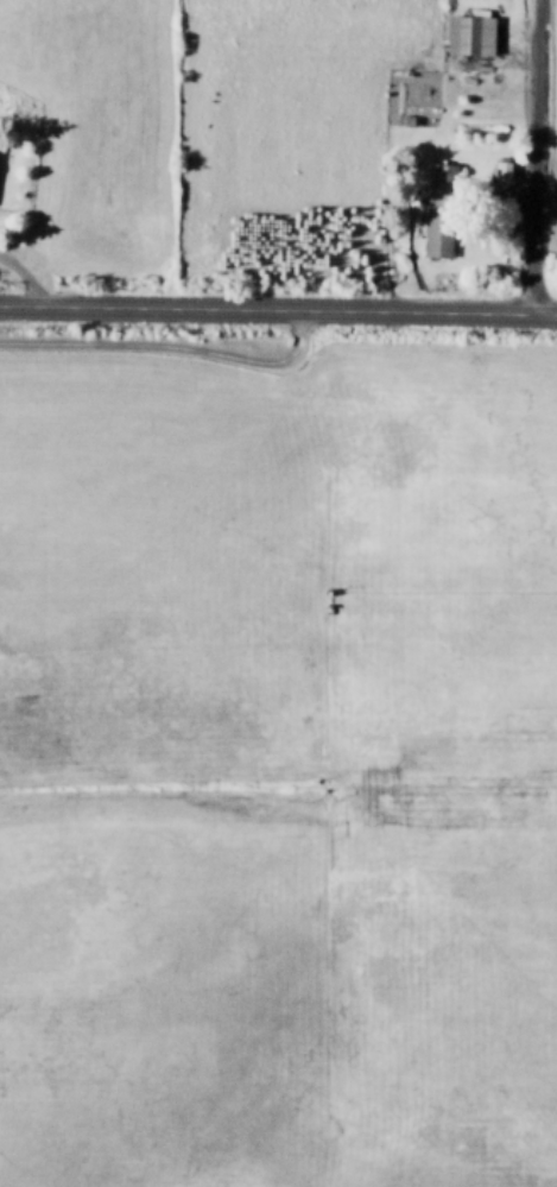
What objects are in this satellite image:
building: (469, 34)
crop: (280, 135)
road: (532, 156)
building: (502, 169)
road: (26, 272)
road: (278, 307)
road: (173, 348)

